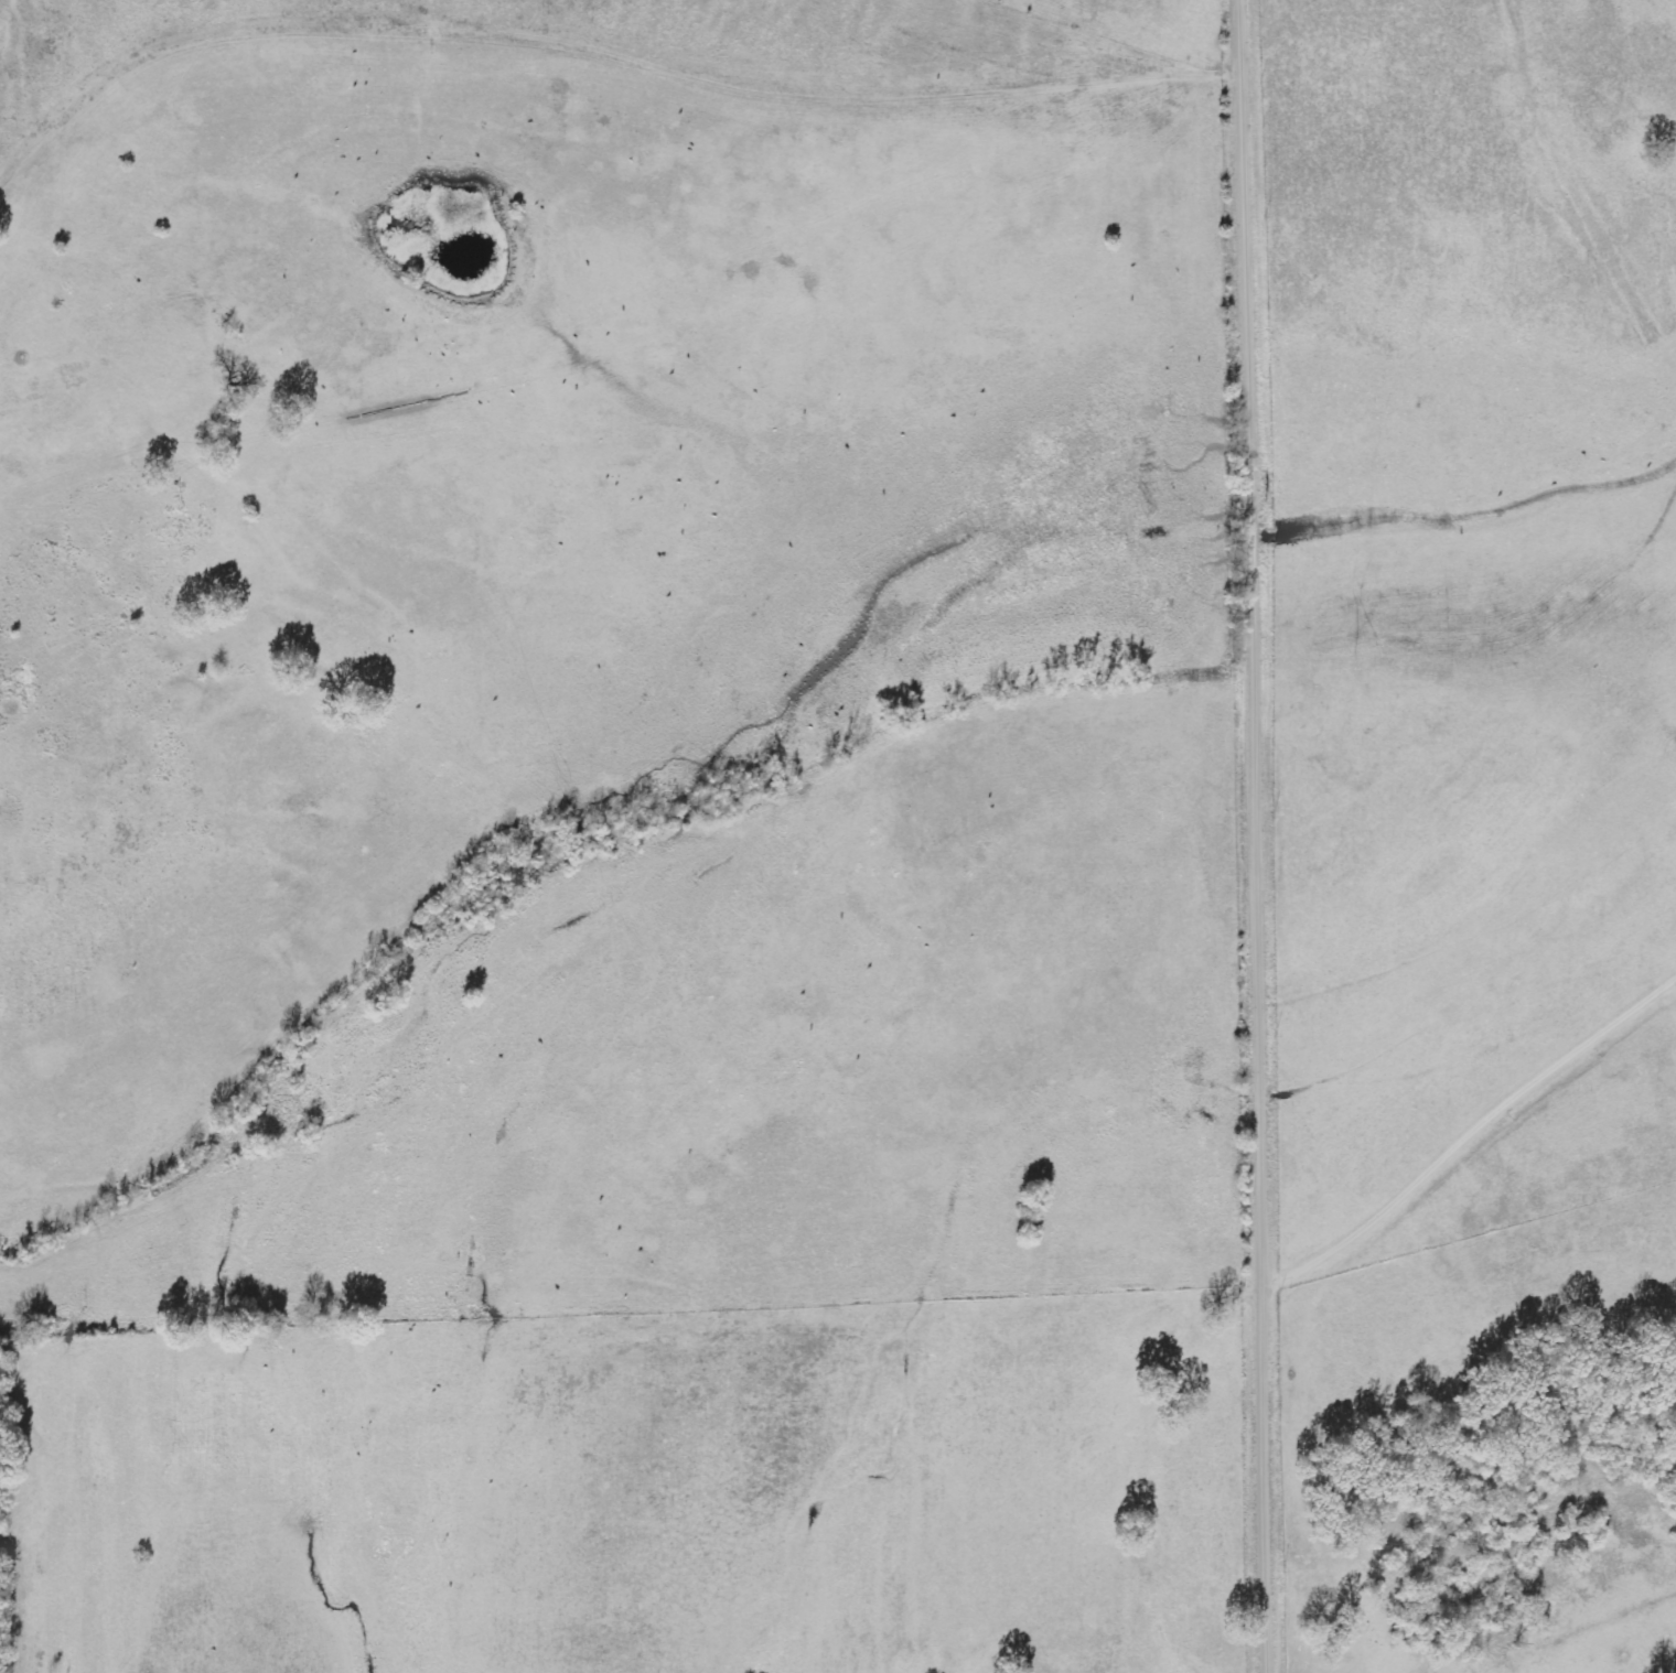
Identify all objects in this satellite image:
road: (1253, 835)
road: (1472, 1140)

